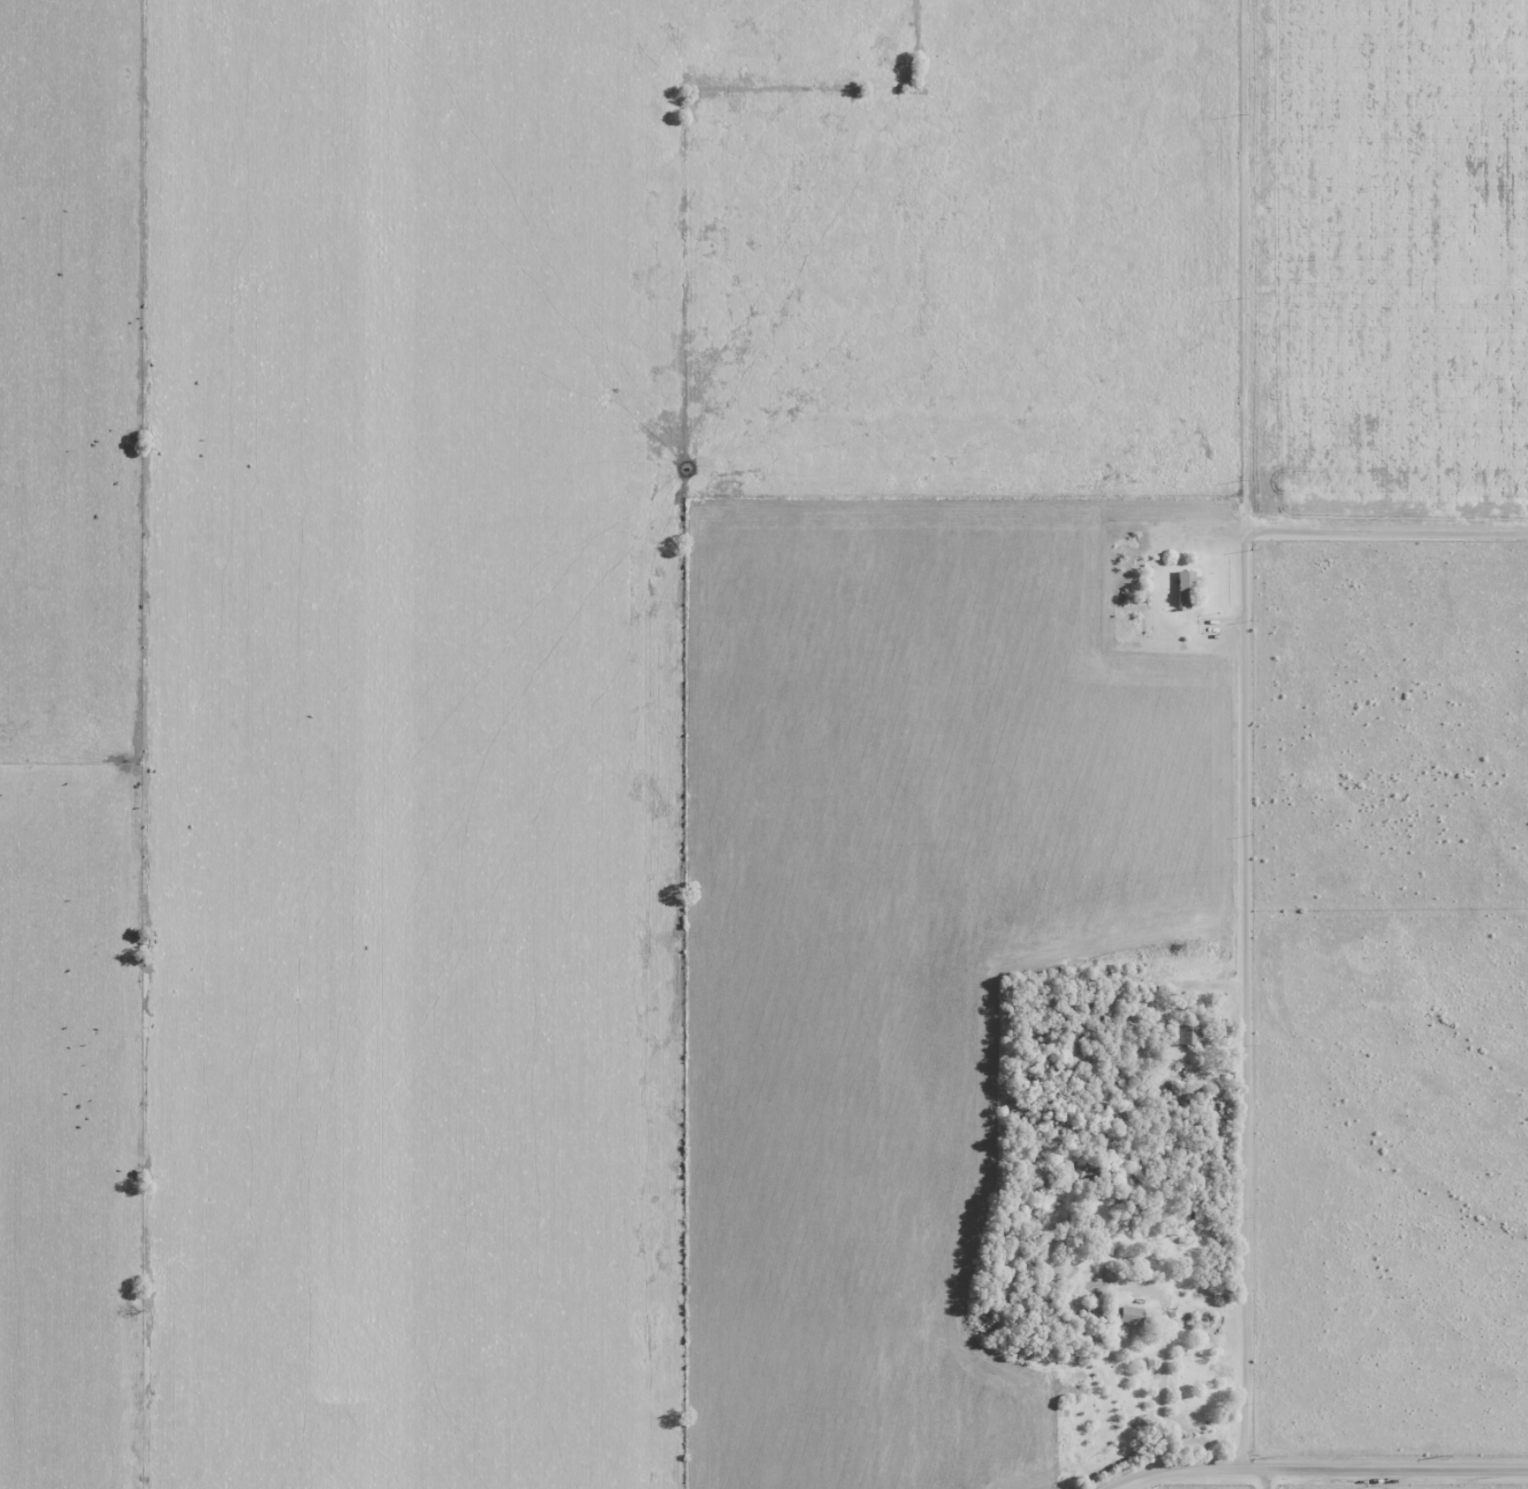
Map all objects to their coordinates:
building: (1188, 589)
road: (1244, 862)
building: (1182, 1034)
building: (1132, 1317)
road: (1037, 1398)
road: (1320, 1468)
road: (1266, 1478)

